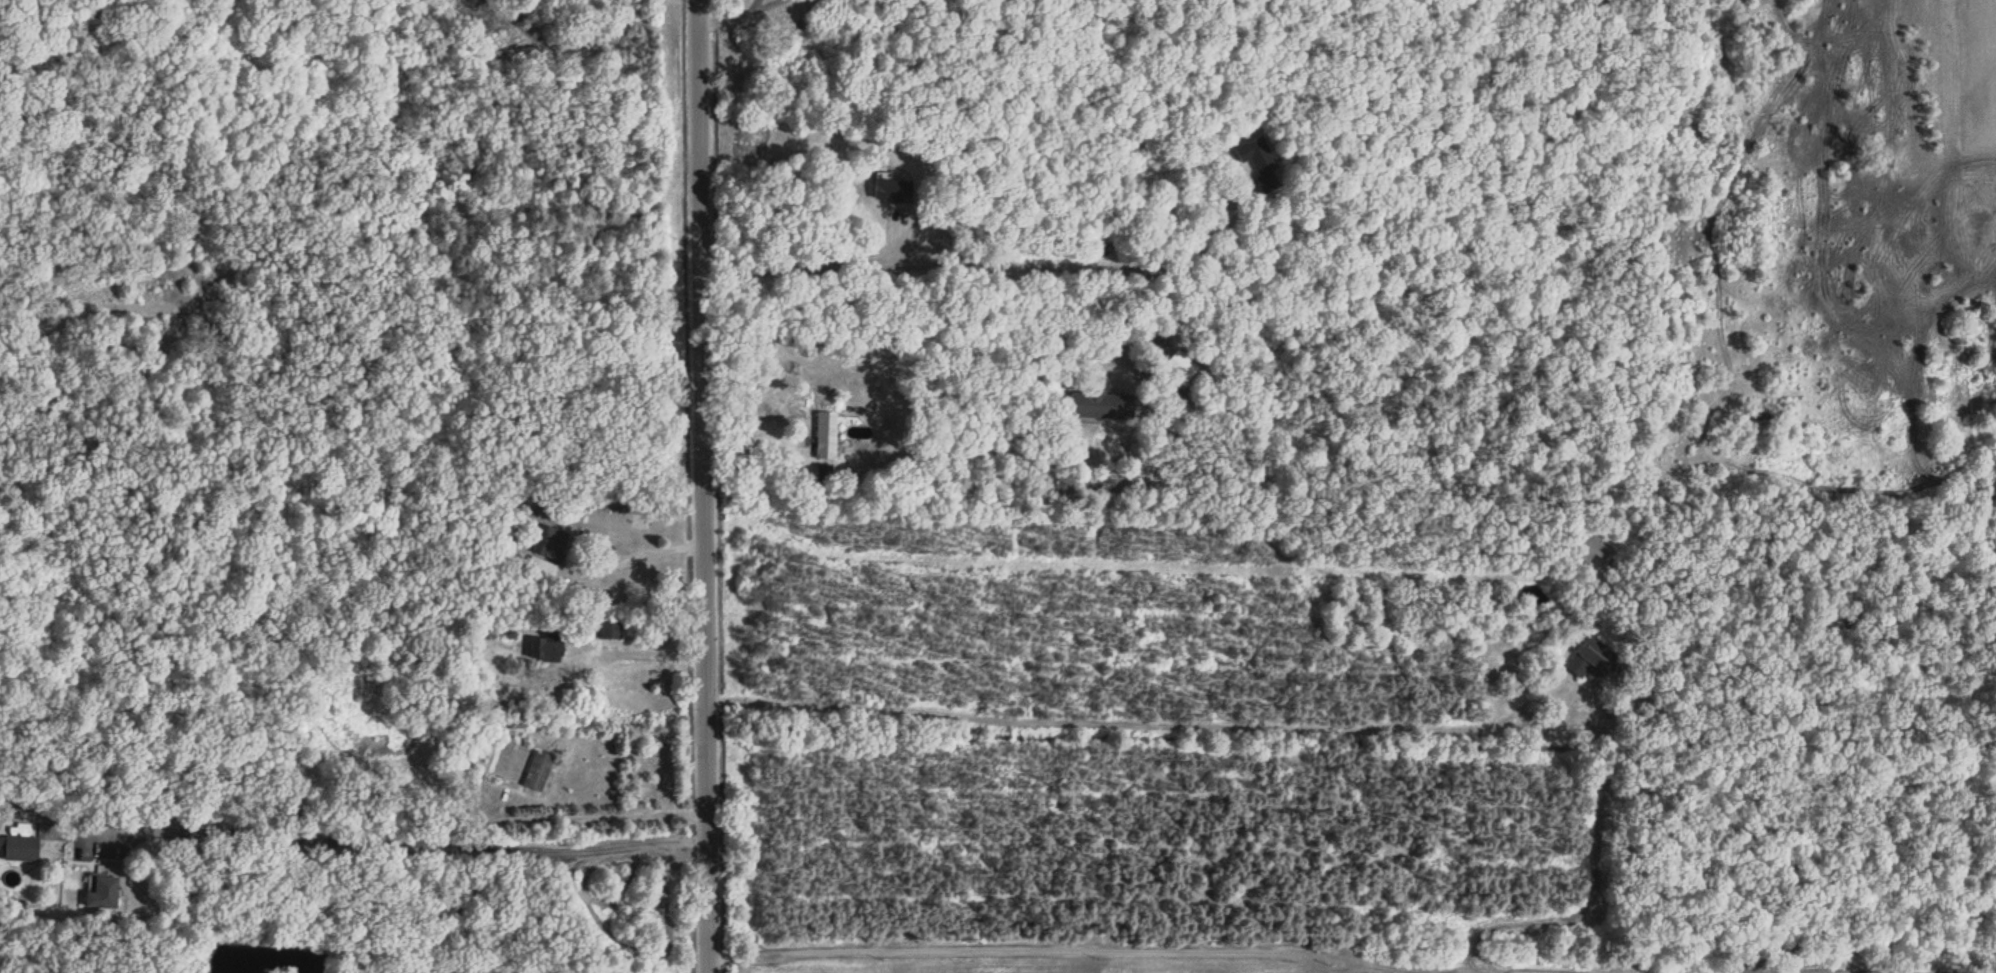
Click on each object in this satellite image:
building: (1261, 159)
building: (895, 189)
road: (989, 265)
road: (1124, 311)
building: (1103, 404)
building: (827, 434)
road: (757, 442)
road: (704, 486)
building: (552, 541)
building: (1597, 547)
road: (646, 554)
road: (1125, 562)
building: (542, 570)
building: (613, 629)
building: (549, 648)
road: (656, 652)
building: (1597, 658)
road: (1395, 727)
building: (540, 769)
building: (1609, 833)
road: (407, 840)
building: (24, 847)
building: (108, 891)
road: (1017, 949)
road: (1514, 971)

